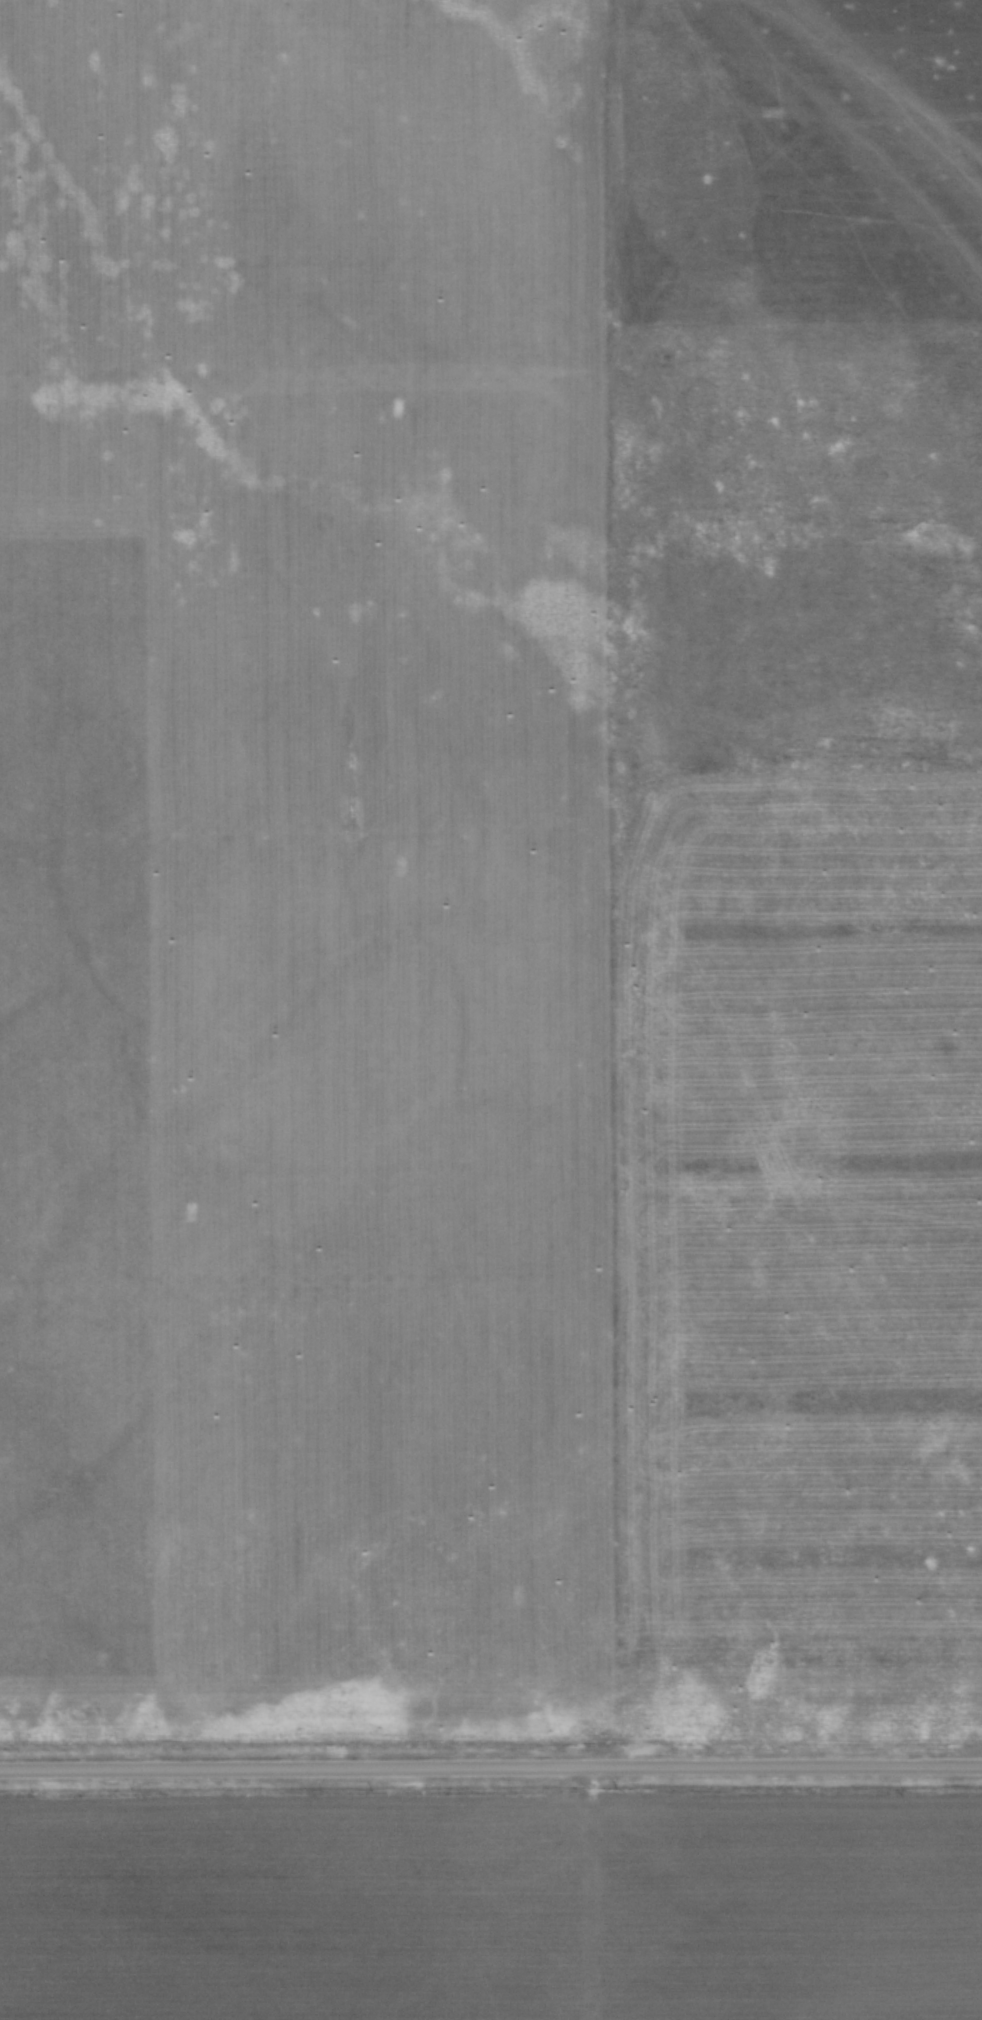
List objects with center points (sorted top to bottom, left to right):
road: (491, 1773)
crop: (492, 1910)

